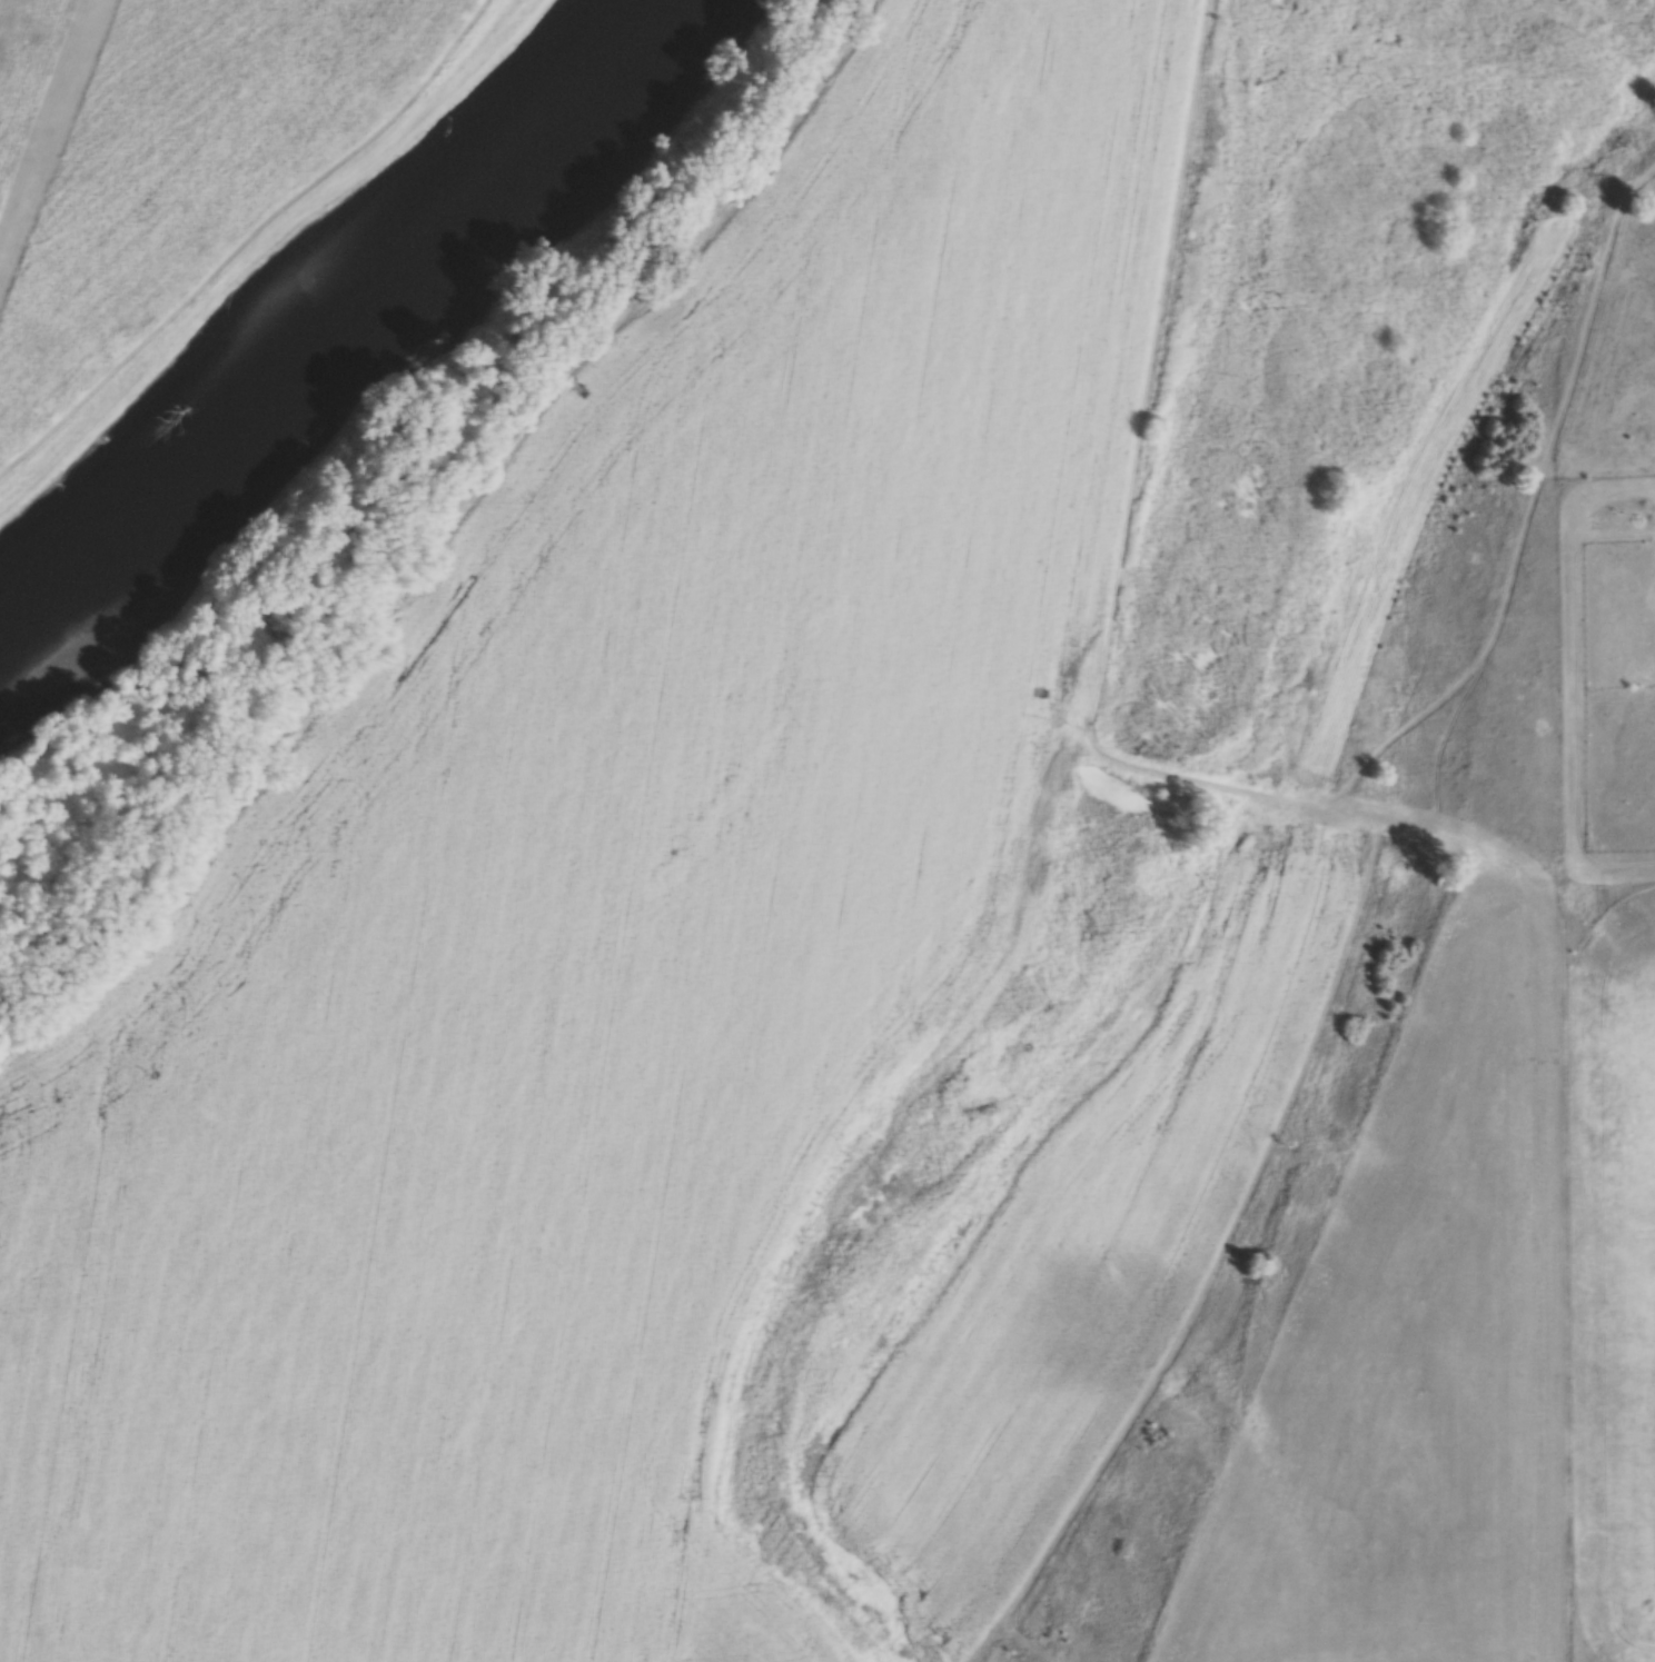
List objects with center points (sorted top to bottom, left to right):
river: (314, 318)

